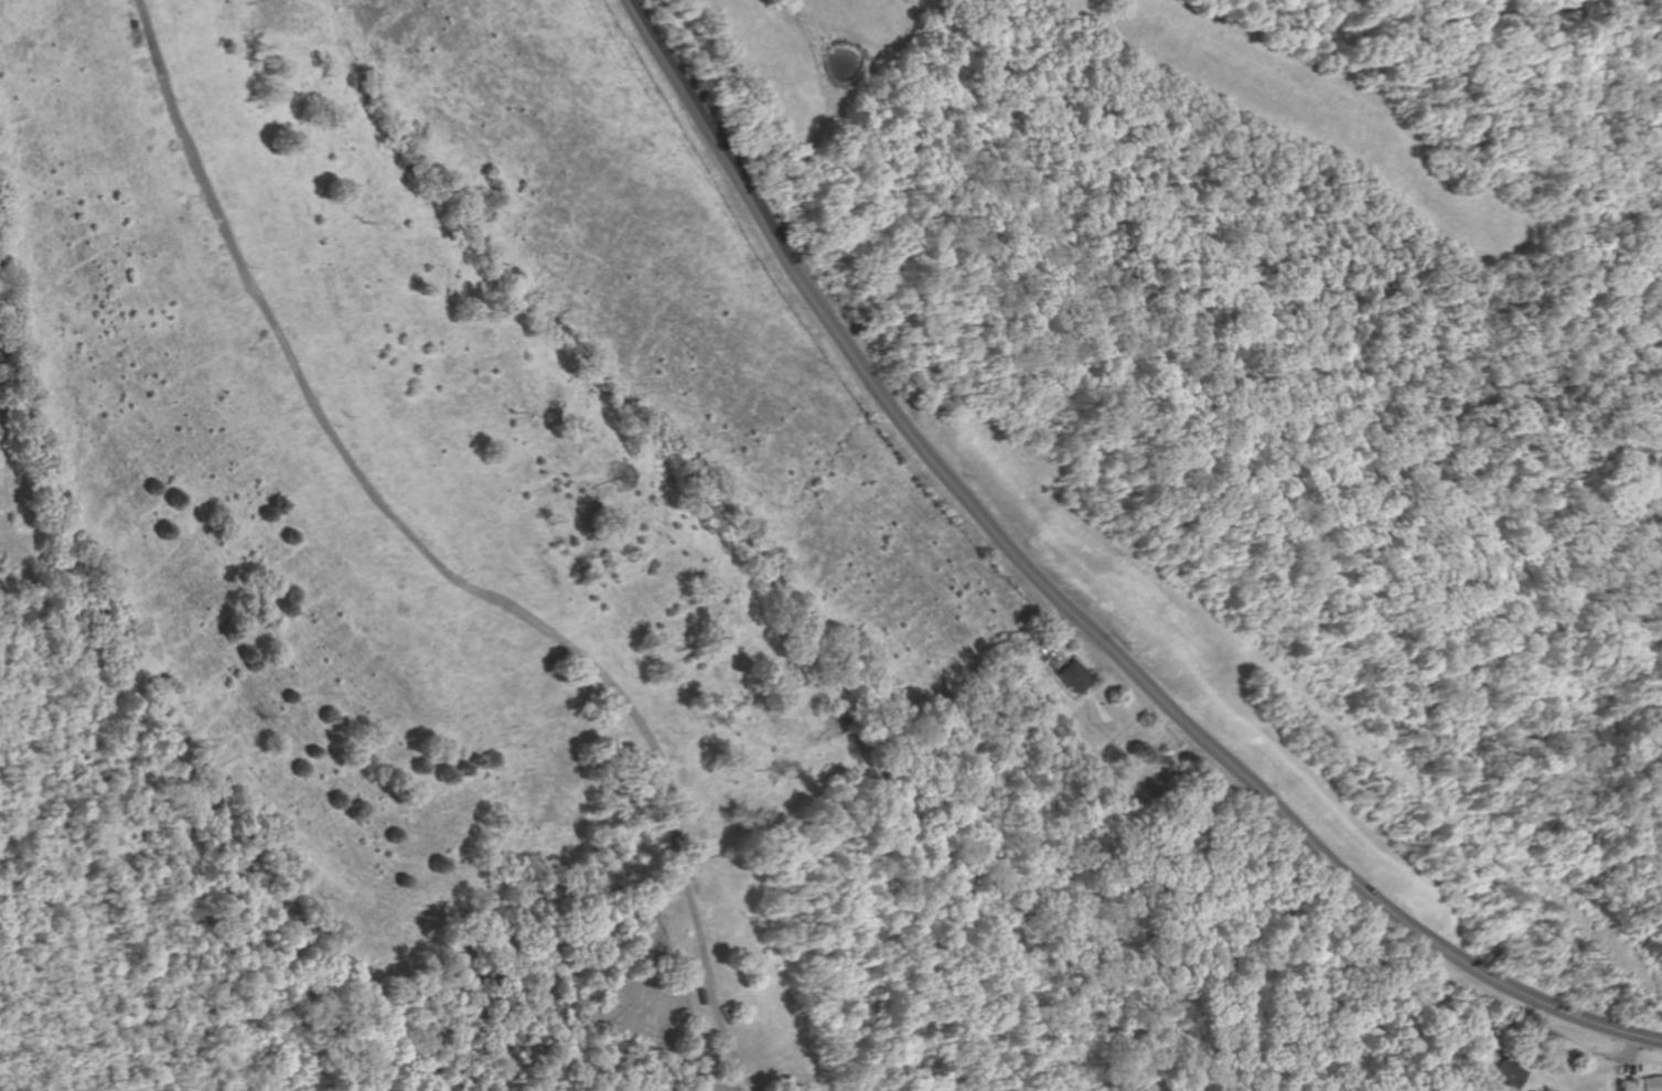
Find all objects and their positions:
road: (1408, 153)
road: (433, 567)
road: (1062, 607)
road: (1051, 644)
building: (1075, 675)
road: (1506, 1047)
road: (1627, 1063)
building: (1512, 1073)
building: (1653, 1083)

